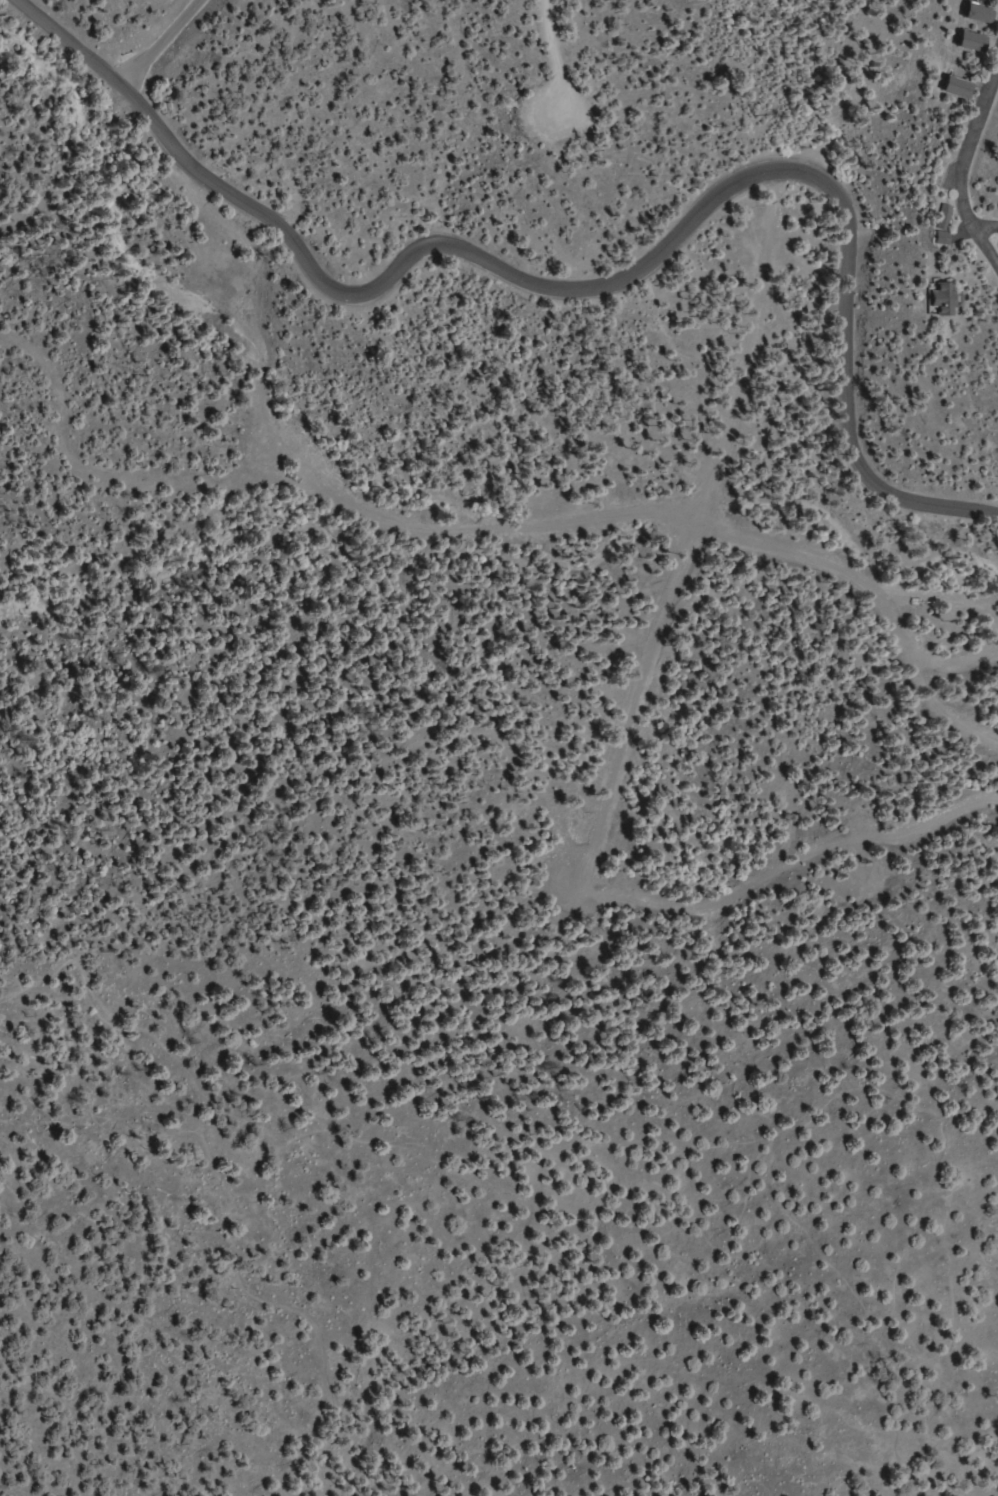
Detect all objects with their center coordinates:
building: (980, 13)
building: (974, 42)
building: (959, 88)
road: (971, 150)
building: (944, 224)
road: (985, 227)
road: (985, 248)
road: (599, 285)
building: (943, 298)
road: (656, 1197)

